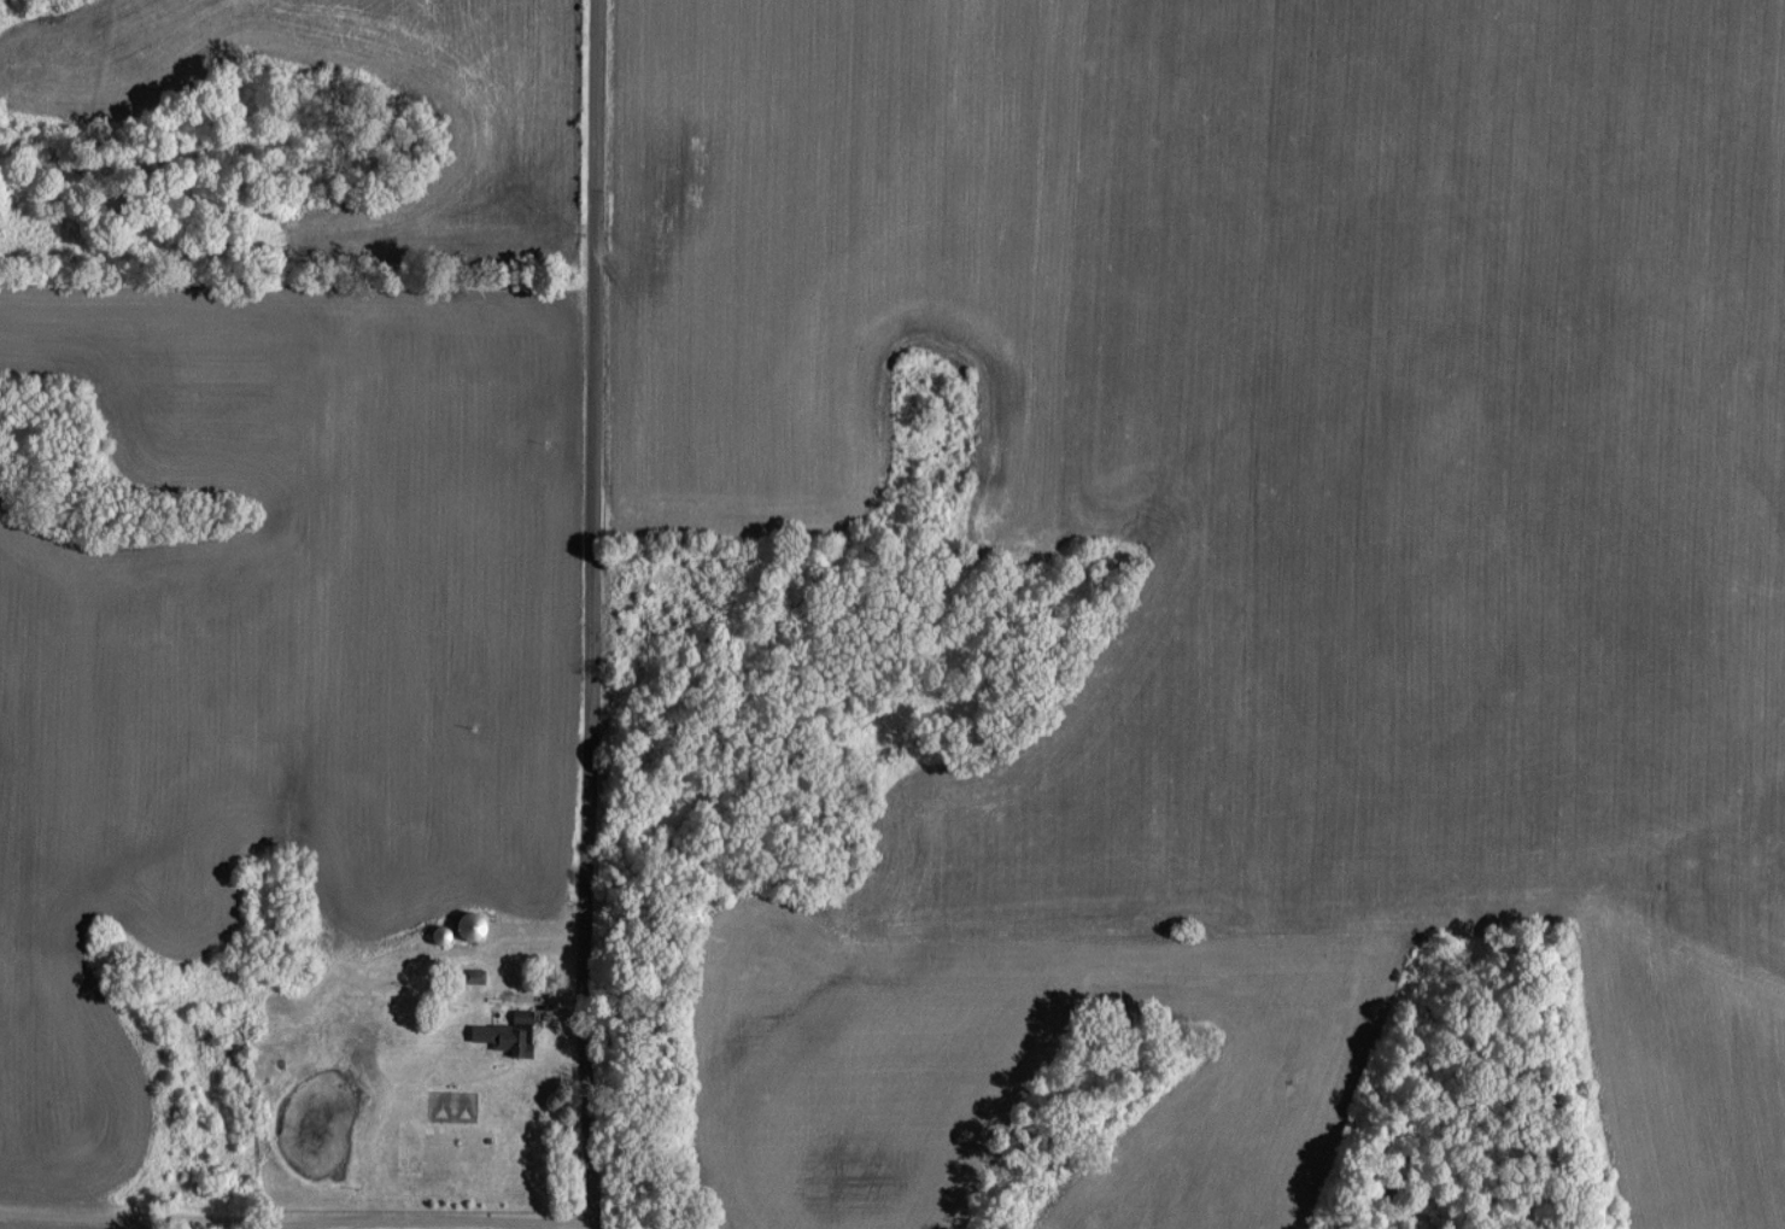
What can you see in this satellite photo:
road: (581, 614)
building: (508, 1032)
road: (297, 1219)

